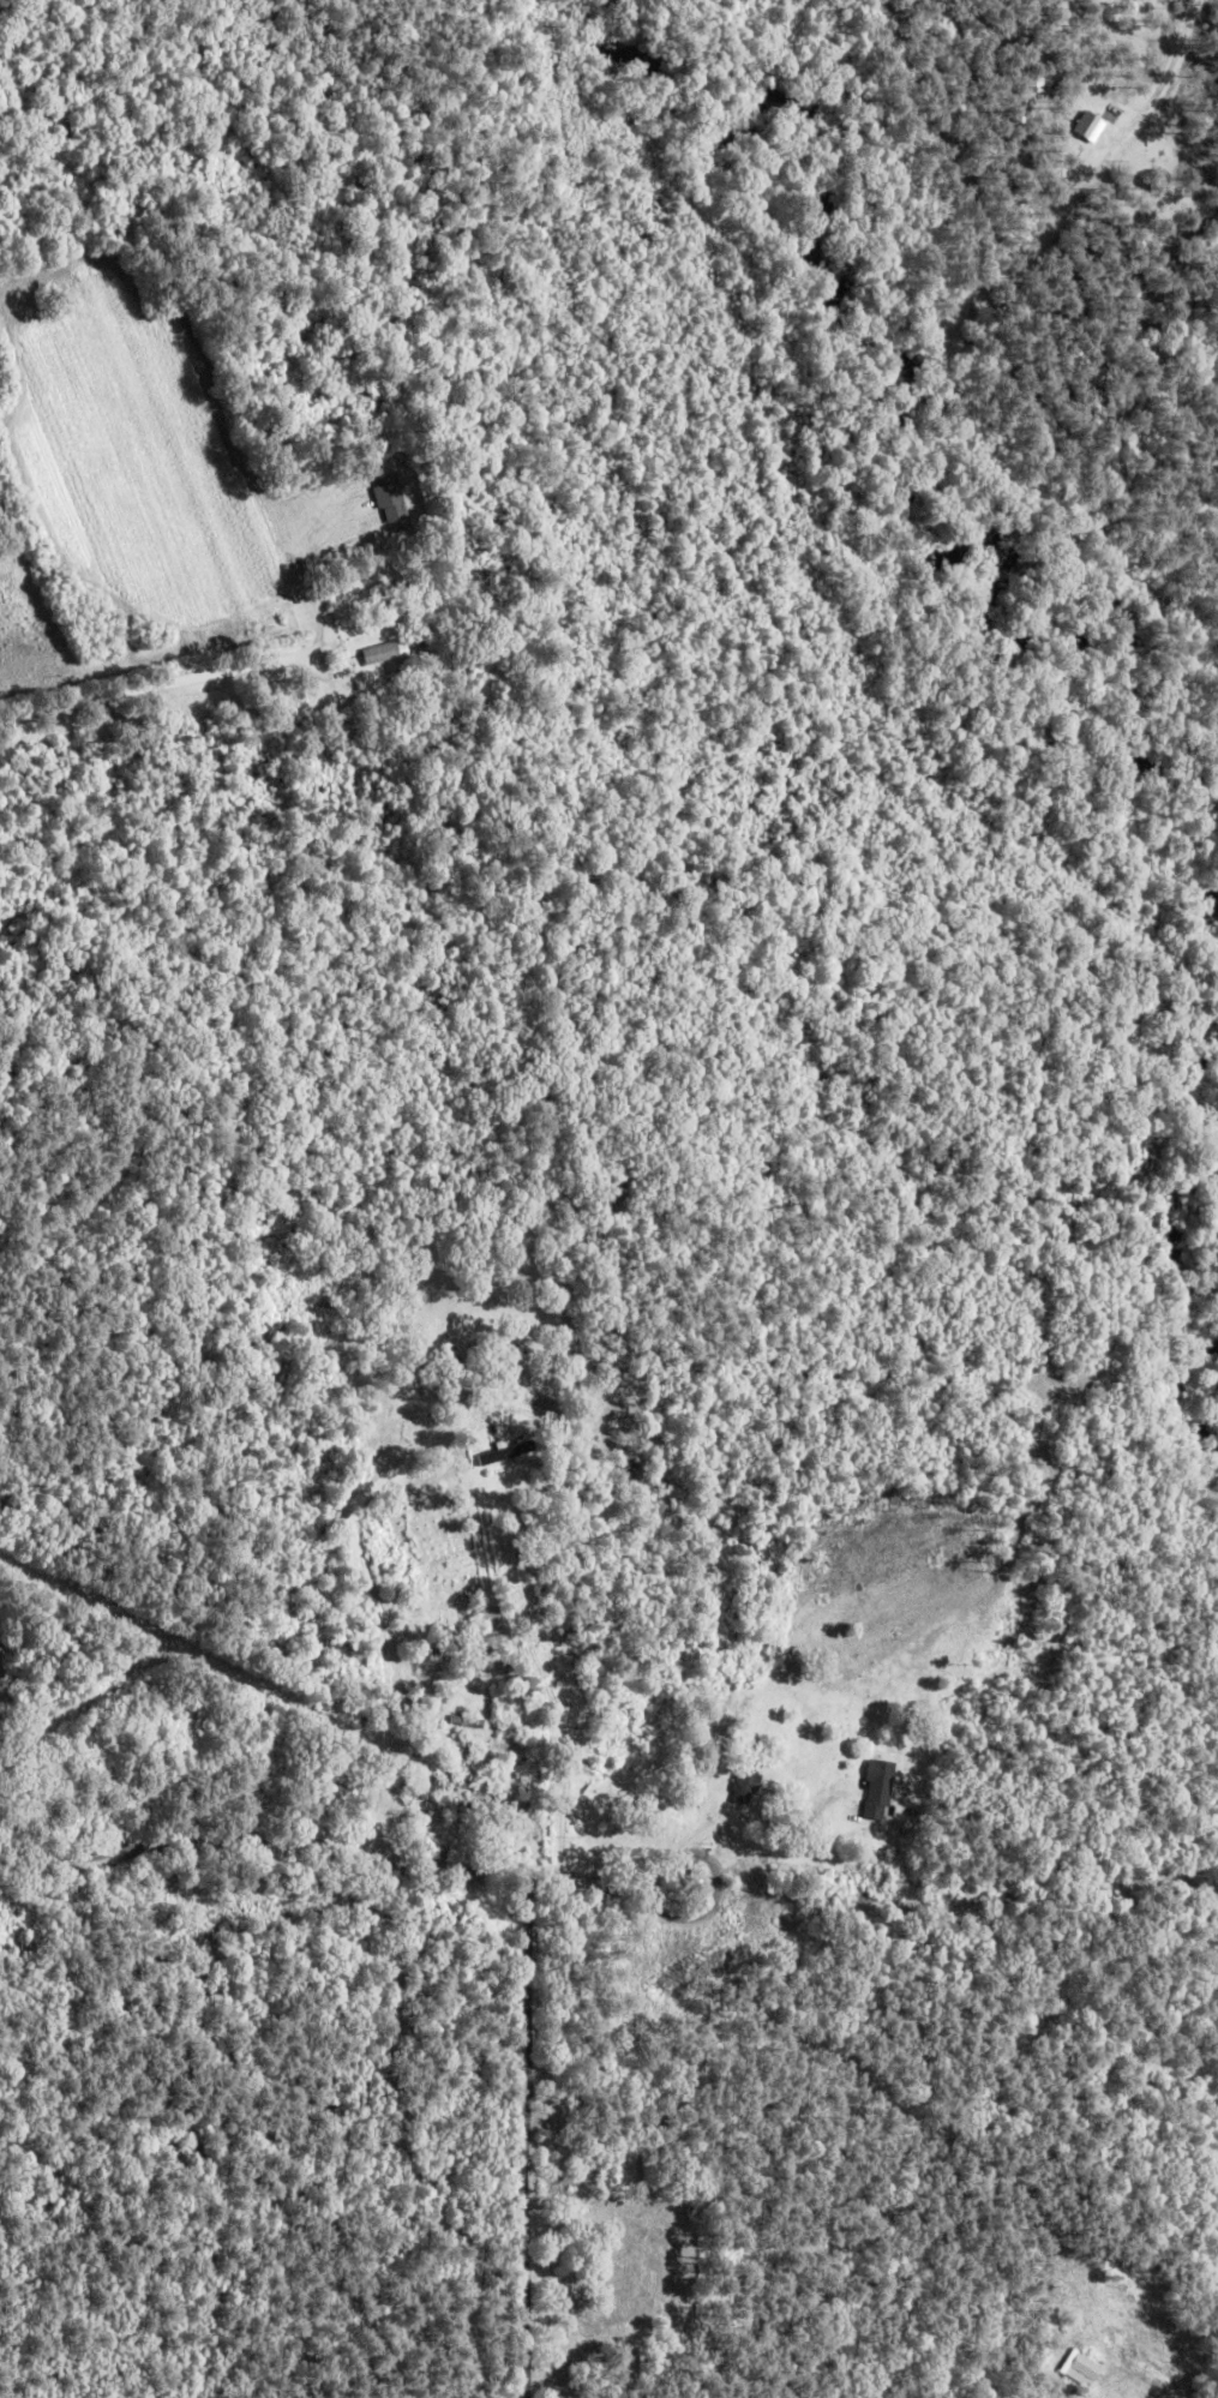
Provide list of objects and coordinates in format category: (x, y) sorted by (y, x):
river: (896, 398)
building: (390, 498)
building: (384, 653)
road: (156, 685)
river: (1196, 1087)
road: (68, 1212)
river: (1188, 1237)
river: (1178, 1381)
building: (122, 1699)
building: (420, 1789)
building: (746, 1789)
building: (880, 1791)
building: (503, 1829)
road: (379, 1851)
building: (749, 1880)

